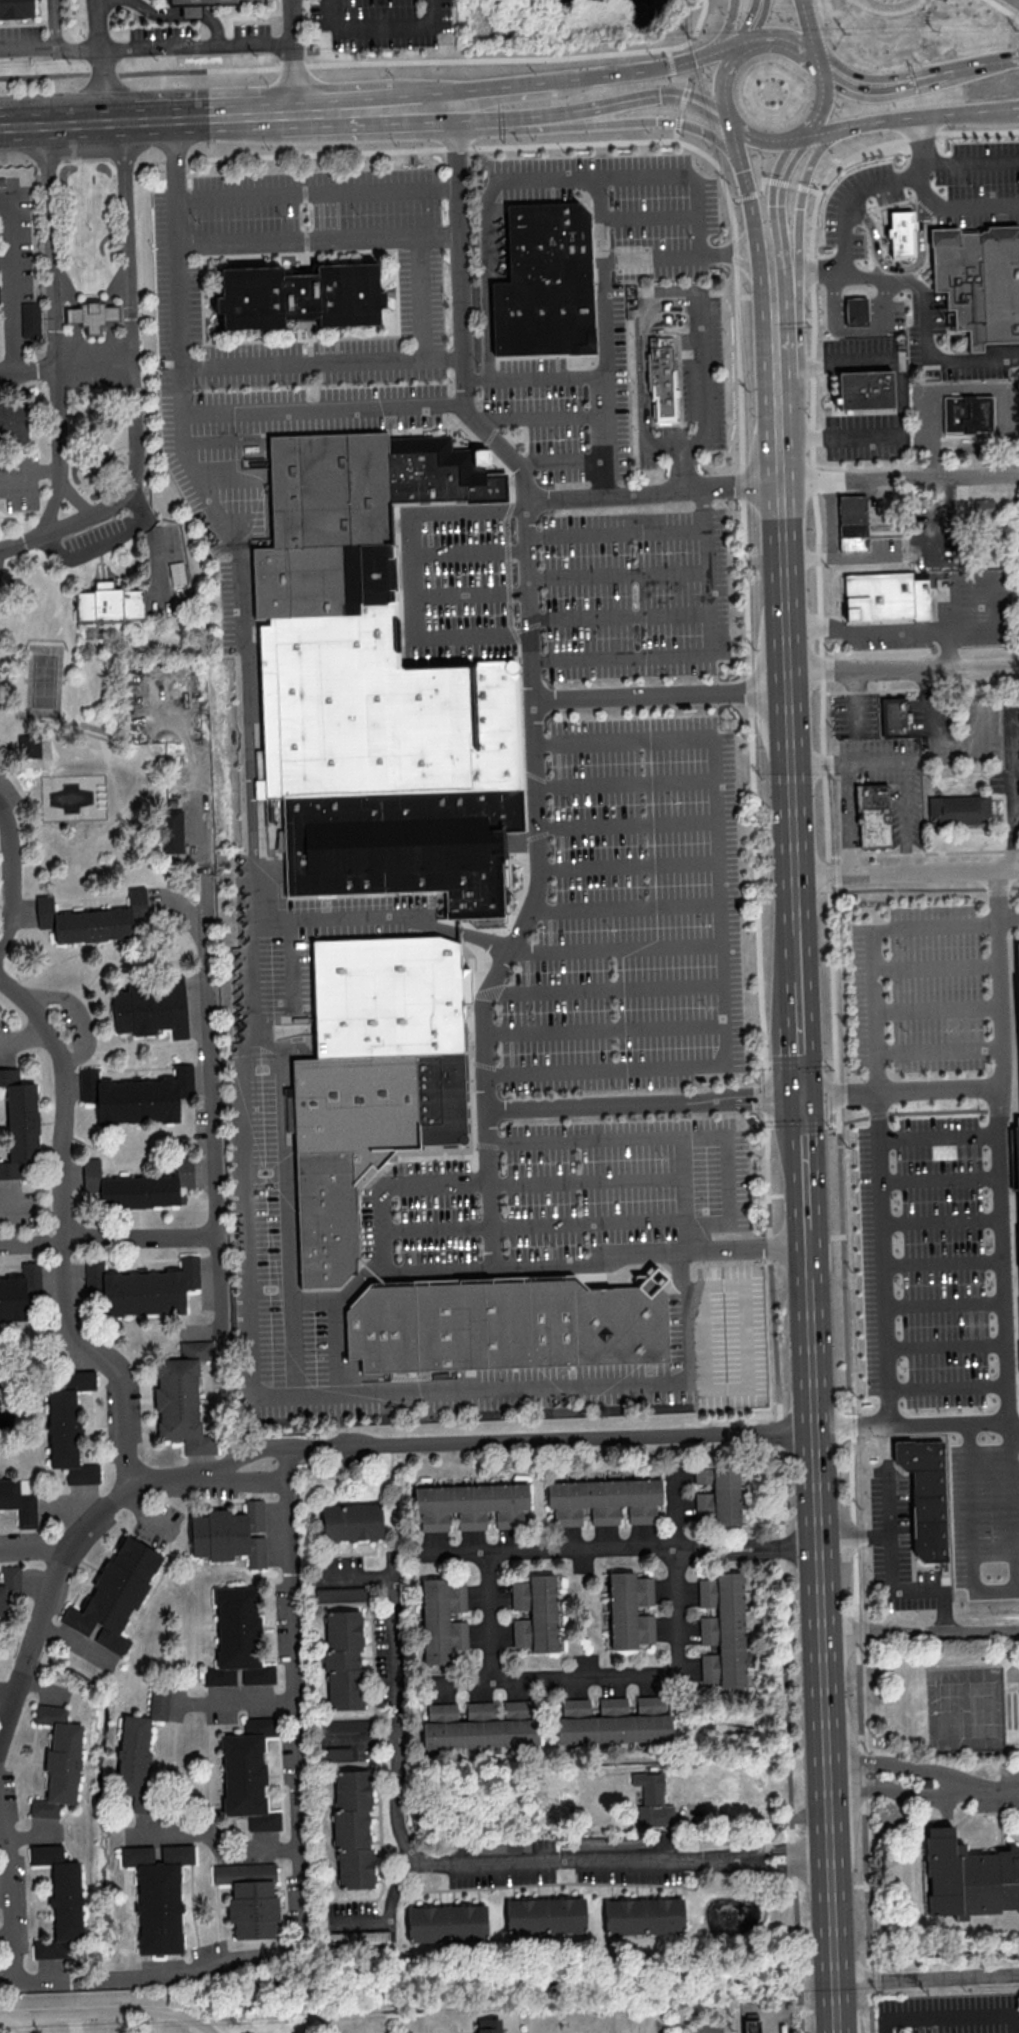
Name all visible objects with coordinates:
building: (215, 1)
building: (16, 9)
road: (1005, 9)
road: (168, 14)
road: (755, 23)
road: (56, 24)
road: (381, 28)
road: (728, 29)
parking lot: (309, 31)
road: (812, 32)
road: (786, 42)
road: (198, 47)
road: (51, 48)
road: (293, 57)
traffic signals: (694, 59)
road: (104, 60)
road: (370, 63)
road: (985, 64)
road: (670, 66)
road: (728, 80)
road: (688, 88)
road: (885, 88)
road: (523, 89)
traffic signals: (659, 96)
road: (823, 103)
road: (595, 108)
road: (1003, 112)
road: (227, 117)
road: (894, 119)
road: (639, 121)
traffic signals: (655, 121)
road: (737, 136)
road: (764, 138)
road: (176, 160)
road: (972, 160)
road: (923, 164)
traffic signals: (745, 169)
road: (638, 176)
road: (770, 180)
parking lot: (926, 191)
road: (316, 196)
road: (850, 201)
traffic signals: (779, 204)
road: (975, 205)
traffic signals: (803, 208)
road: (648, 216)
road: (601, 219)
building: (903, 234)
road: (317, 236)
road: (729, 254)
road: (802, 256)
road: (650, 259)
road: (784, 265)
road: (898, 269)
road: (7, 275)
road: (487, 276)
road: (869, 276)
building: (981, 281)
building: (548, 283)
road: (769, 292)
building: (301, 297)
road: (423, 297)
parking lot: (599, 300)
road: (858, 310)
road: (876, 310)
road: (840, 311)
building: (858, 311)
road: (674, 313)
building: (94, 314)
building: (30, 319)
road: (54, 329)
road: (132, 329)
road: (673, 329)
road: (855, 330)
road: (942, 362)
road: (643, 366)
road: (67, 367)
road: (235, 367)
road: (534, 377)
road: (606, 377)
building: (663, 382)
road: (704, 382)
building: (867, 388)
road: (967, 390)
road: (322, 407)
road: (902, 407)
building: (970, 414)
road: (540, 416)
road: (790, 416)
parking lot: (300, 417)
building: (13, 422)
road: (216, 440)
road: (786, 457)
road: (564, 461)
road: (683, 470)
road: (224, 477)
road: (902, 479)
road: (656, 490)
road: (74, 496)
road: (213, 507)
building: (982, 508)
road: (833, 519)
building: (853, 523)
road: (235, 524)
road: (617, 531)
road: (45, 533)
road: (946, 538)
road: (110, 542)
road: (470, 549)
road: (842, 557)
building: (176, 572)
road: (618, 573)
road: (787, 576)
road: (412, 577)
parking lot: (457, 579)
road: (471, 591)
parking lot: (635, 593)
road: (992, 595)
building: (887, 597)
building: (108, 603)
road: (619, 615)
building: (369, 631)
road: (886, 631)
road: (805, 633)
road: (951, 648)
road: (705, 655)
road: (903, 668)
park: (44, 681)
road: (983, 681)
road: (928, 682)
road: (532, 683)
road: (858, 684)
road: (660, 696)
building: (893, 717)
road: (860, 730)
road: (749, 734)
building: (28, 745)
road: (962, 759)
road: (886, 761)
road: (809, 765)
road: (791, 774)
road: (248, 782)
road: (625, 782)
road: (1016, 787)
building: (960, 811)
building: (873, 816)
road: (908, 817)
road: (851, 819)
road: (627, 824)
building: (170, 830)
building: (404, 847)
road: (628, 865)
road: (12, 872)
road: (907, 874)
road: (625, 905)
parking lot: (633, 914)
road: (333, 917)
building: (92, 919)
road: (796, 921)
road: (721, 929)
road: (463, 932)
parking lot: (321, 934)
road: (615, 947)
road: (289, 961)
road: (942, 968)
building: (1017, 968)
road: (798, 986)
road: (606, 987)
building: (390, 997)
road: (206, 1003)
road: (834, 1003)
building: (150, 1007)
road: (943, 1010)
road: (77, 1019)
road: (605, 1030)
road: (24, 1036)
road: (944, 1050)
road: (800, 1053)
road: (905, 1091)
building: (136, 1096)
traffic signals: (801, 1098)
road: (768, 1099)
road: (880, 1103)
road: (612, 1106)
building: (19, 1123)
building: (1018, 1136)
road: (940, 1138)
building: (363, 1141)
road: (999, 1153)
road: (804, 1172)
road: (939, 1180)
road: (487, 1182)
building: (137, 1186)
parking lot: (561, 1192)
road: (683, 1194)
parking lot: (940, 1213)
road: (717, 1221)
road: (938, 1221)
road: (63, 1236)
road: (109, 1241)
road: (698, 1253)
road: (939, 1263)
road: (486, 1268)
road: (287, 1273)
road: (680, 1274)
building: (142, 1287)
building: (19, 1291)
road: (941, 1304)
road: (334, 1324)
building: (508, 1324)
road: (748, 1339)
road: (942, 1346)
road: (944, 1387)
road: (283, 1394)
building: (182, 1398)
road: (911, 1422)
building: (68, 1428)
road: (1015, 1437)
road: (577, 1439)
road: (310, 1448)
road: (216, 1470)
building: (718, 1494)
building: (927, 1496)
building: (603, 1500)
building: (18, 1502)
building: (471, 1505)
road: (1014, 1514)
building: (351, 1521)
road: (970, 1529)
building: (230, 1534)
road: (855, 1537)
road: (619, 1548)
parking lot: (896, 1548)
road: (36, 1549)
road: (892, 1555)
building: (9, 1584)
road: (51, 1588)
building: (115, 1593)
building: (340, 1593)
building: (629, 1610)
road: (941, 1610)
building: (534, 1613)
building: (442, 1619)
building: (722, 1629)
road: (920, 1632)
building: (237, 1639)
road: (822, 1640)
building: (343, 1658)
road: (588, 1681)
building: (158, 1702)
road: (234, 1702)
park: (965, 1710)
building: (613, 1720)
building: (480, 1725)
building: (343, 1726)
building: (338, 1752)
building: (133, 1757)
building: (57, 1760)
road: (904, 1765)
building: (247, 1774)
parking lot: (1011, 1776)
building: (928, 1782)
road: (998, 1788)
road: (903, 1794)
parking lot: (998, 1797)
building: (652, 1800)
road: (940, 1811)
road: (758, 1816)
building: (352, 1829)
road: (218, 1835)
building: (610, 1843)
road: (301, 1859)
road: (443, 1868)
building: (968, 1878)
road: (949, 1891)
road: (11, 1894)
building: (158, 1895)
building: (249, 1898)
building: (59, 1900)
road: (393, 1913)
building: (544, 1915)
building: (643, 1915)
building: (446, 1923)
river: (945, 1952)
road: (927, 1979)
road: (100, 2013)
road: (954, 2013)
power substation: (769, 2016)
road: (627, 2019)
road: (21, 2024)
building: (750, 2024)
building: (488, 2025)
road: (203, 2029)

